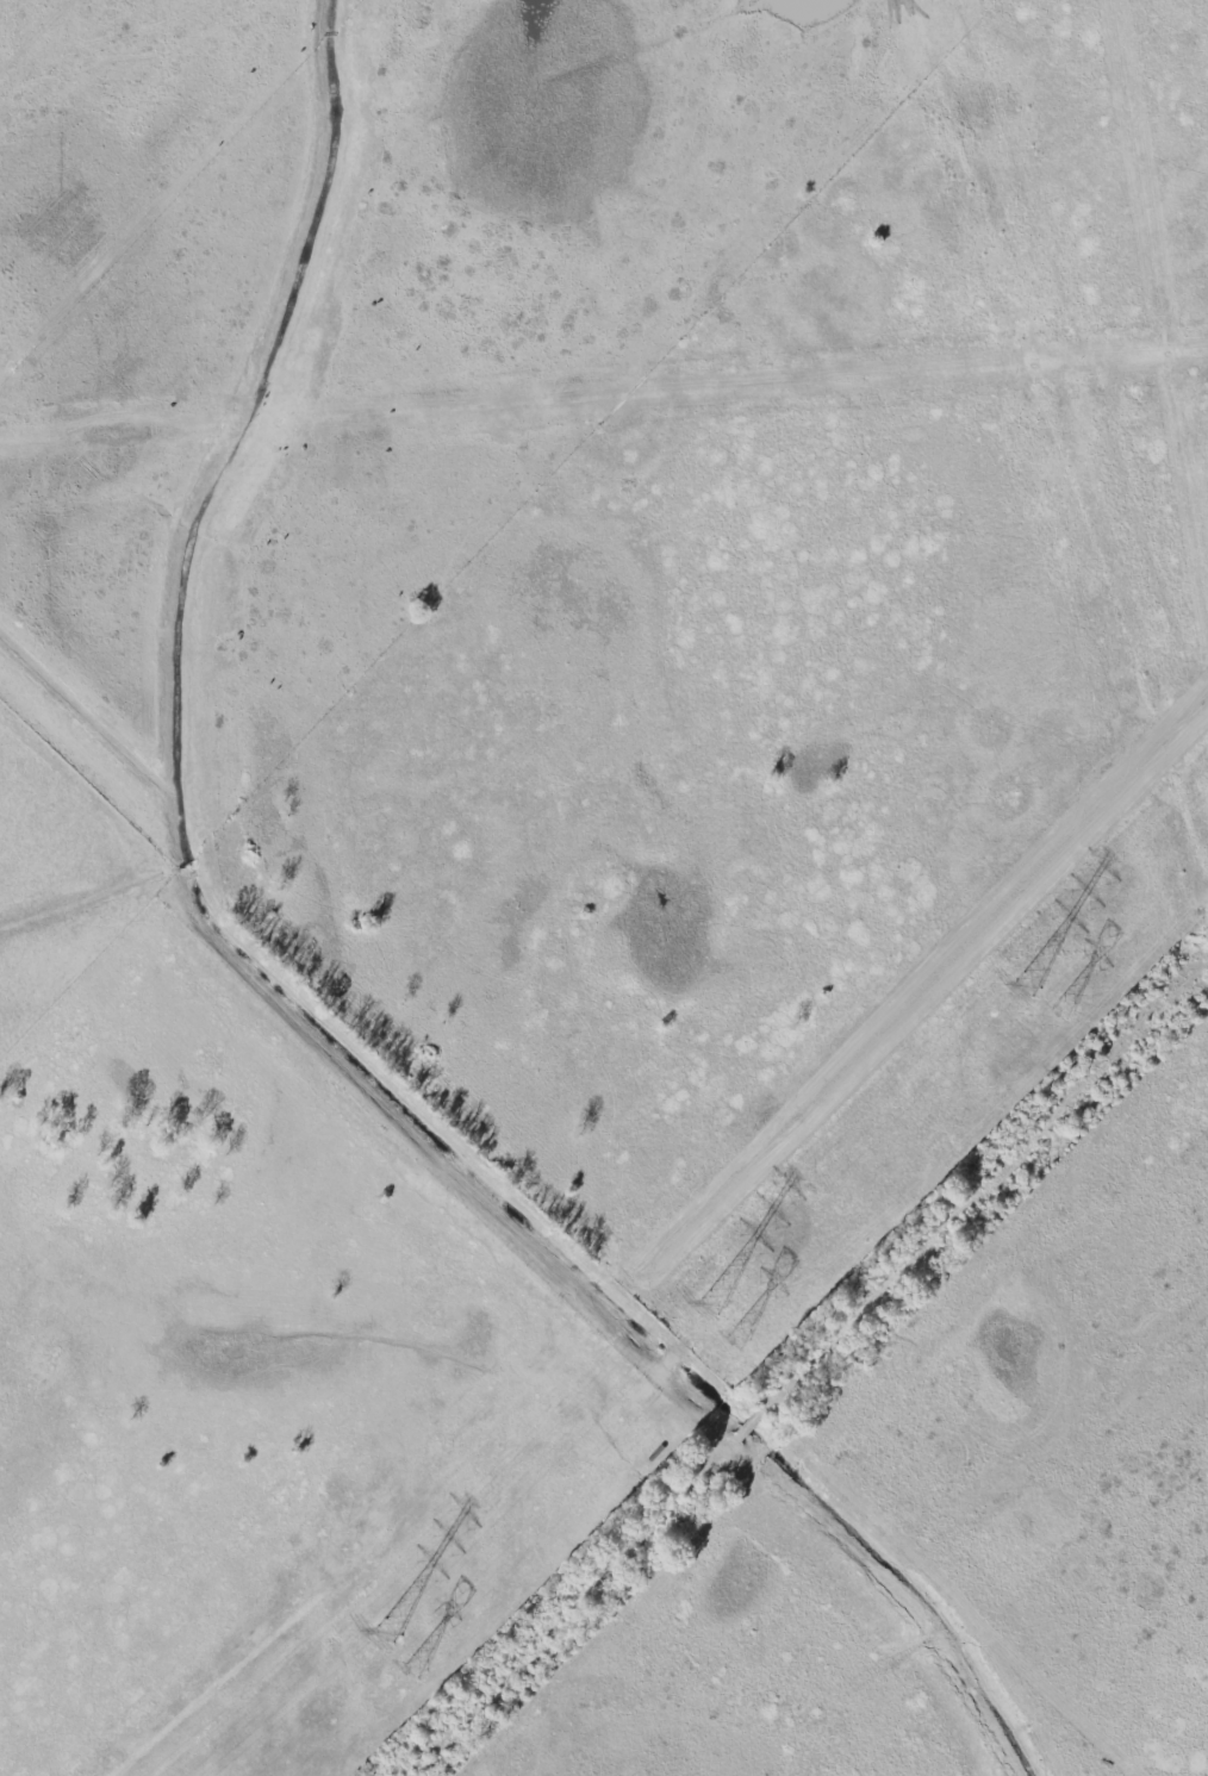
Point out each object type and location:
power tower: (1027, 985)
power tower: (1060, 1008)
power tower: (711, 1305)
power tower: (737, 1340)
railway: (798, 1379)
power tower: (388, 1631)
power tower: (413, 1669)

